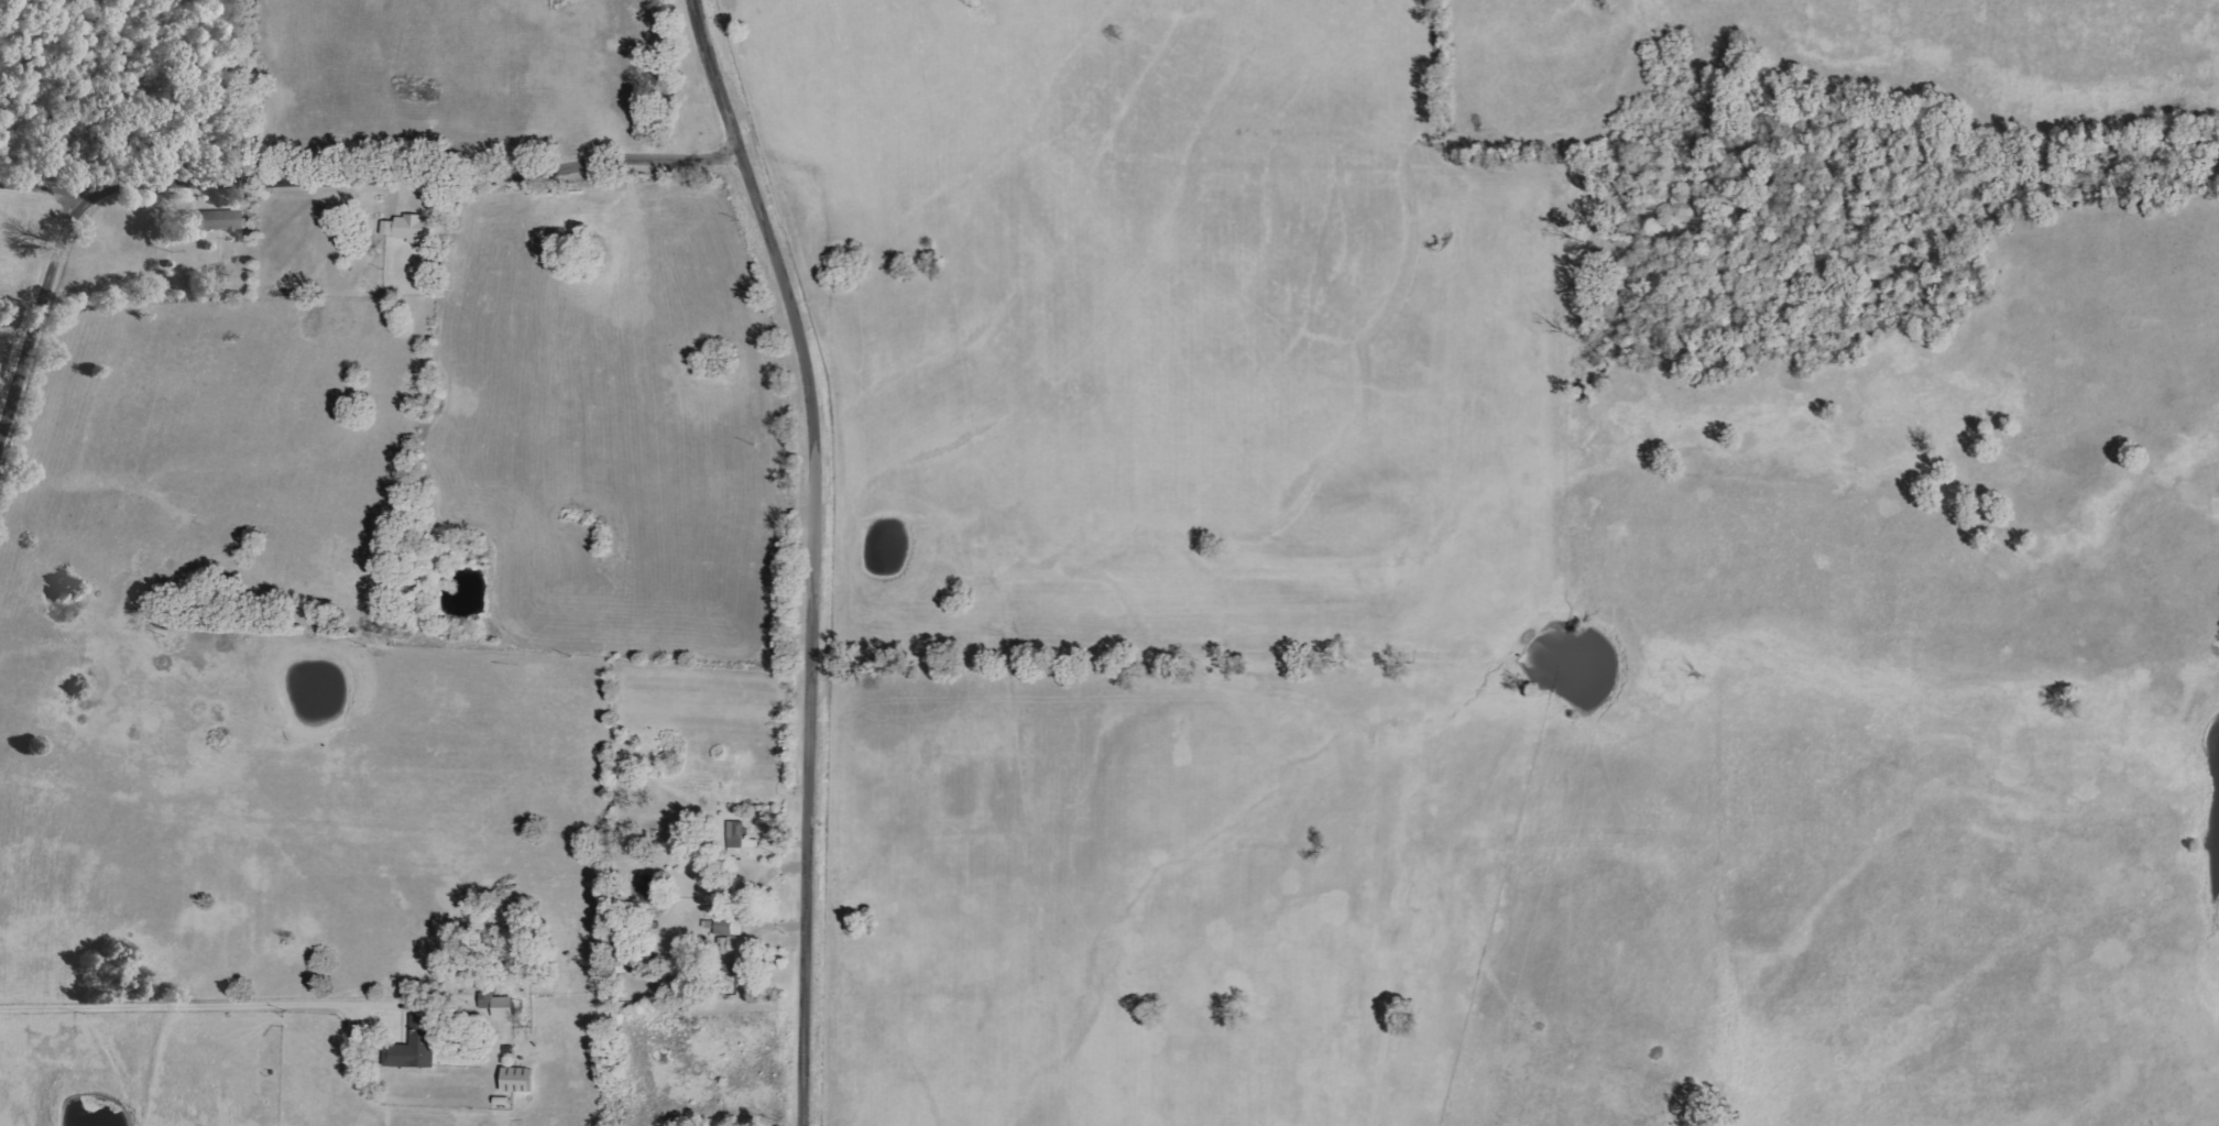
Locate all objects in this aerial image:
road: (51, 127)
road: (393, 185)
building: (218, 219)
building: (412, 227)
road: (40, 316)
road: (807, 544)
building: (740, 835)
building: (730, 926)
building: (743, 953)
road: (182, 1003)
building: (500, 1005)
building: (416, 1046)
building: (520, 1080)

